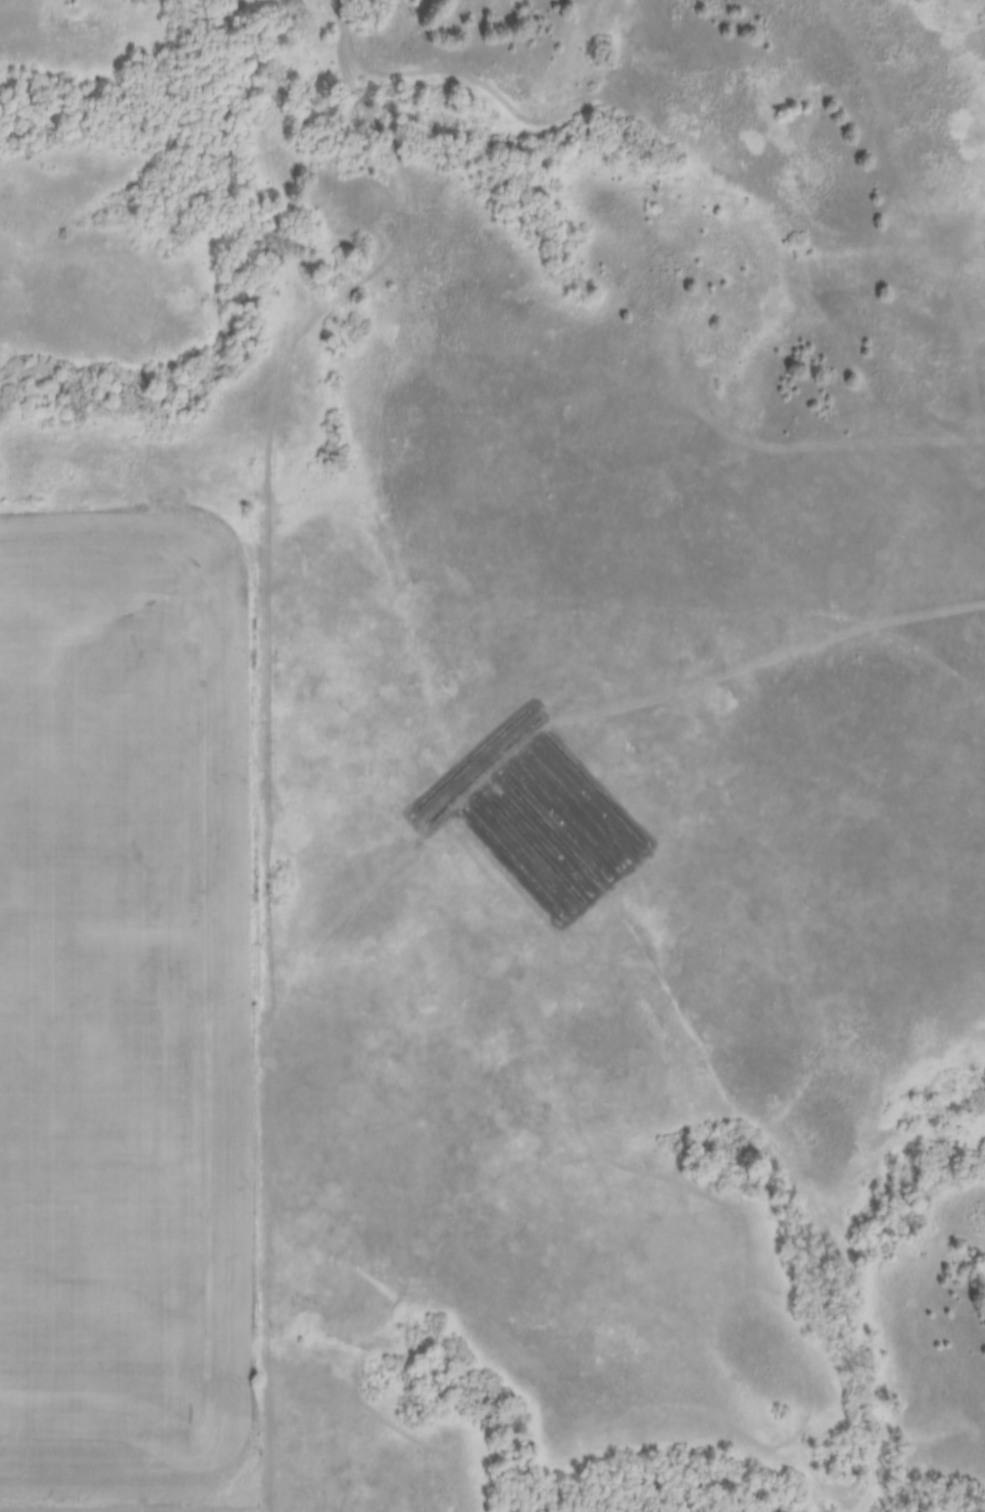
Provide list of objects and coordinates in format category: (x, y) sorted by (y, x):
road: (827, 637)

